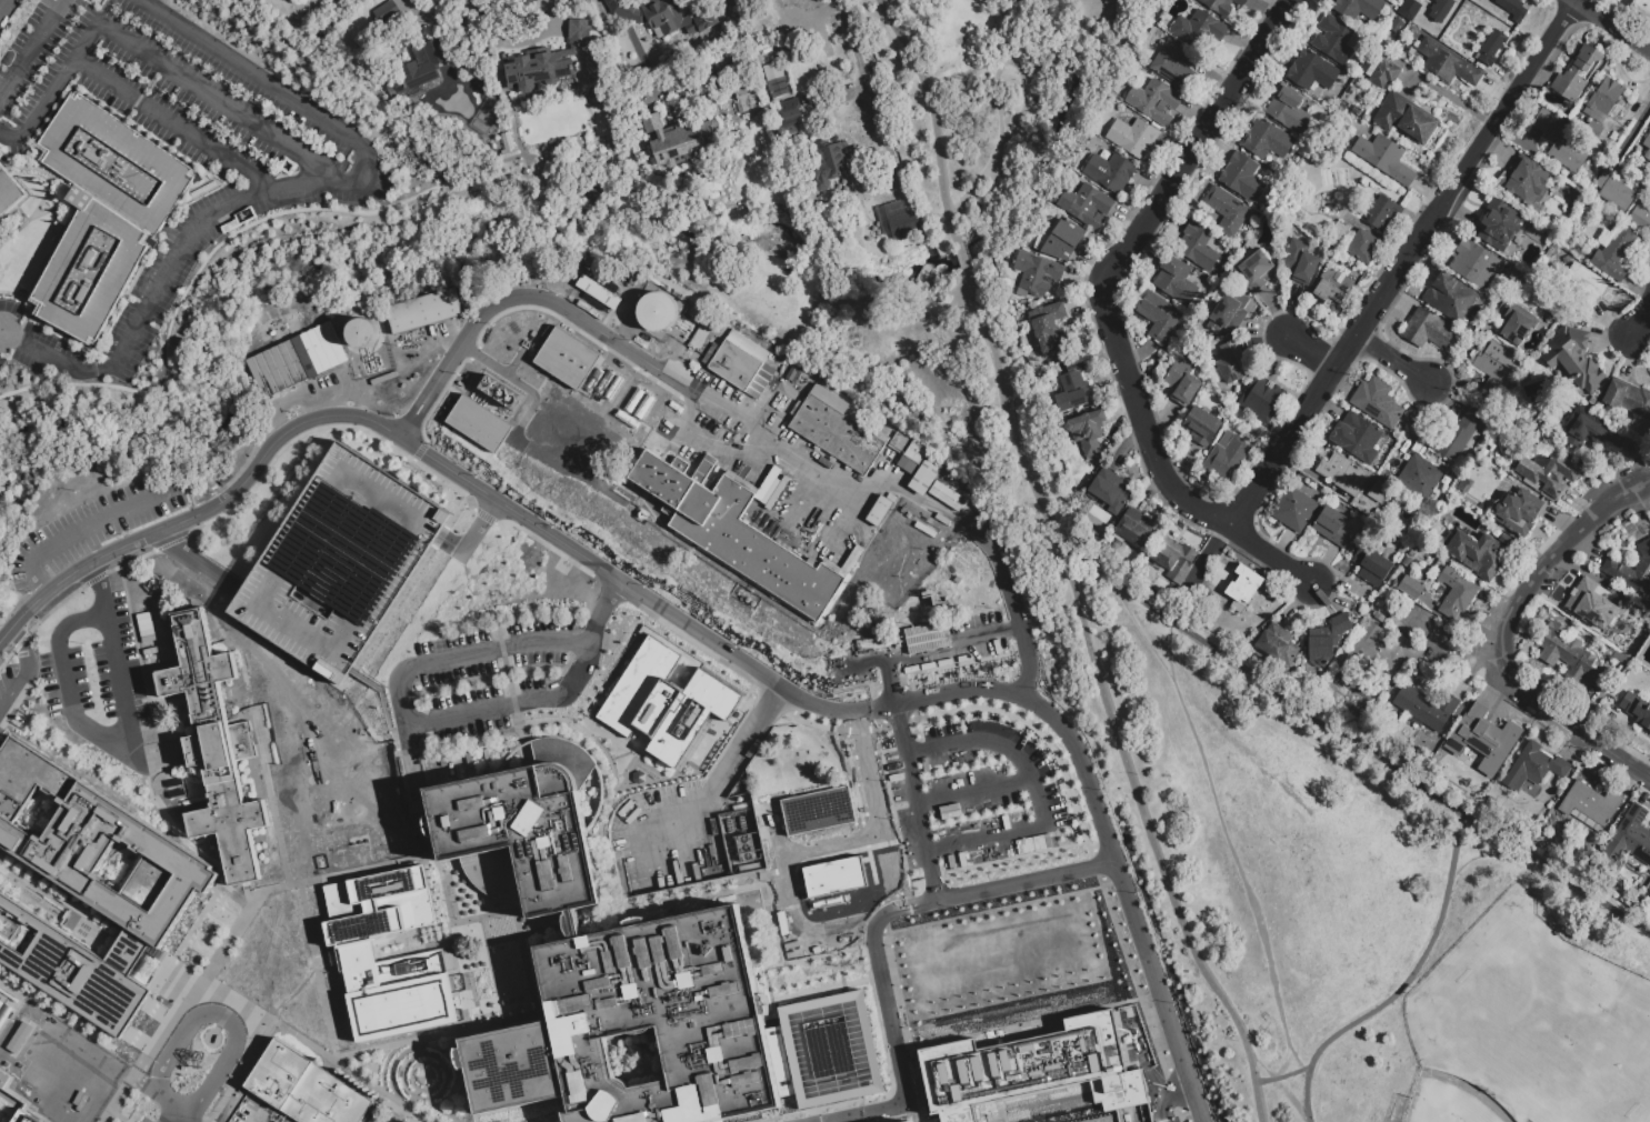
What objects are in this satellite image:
building: (1222, 7)
road: (729, 9)
building: (1409, 9)
building: (1512, 9)
building: (1642, 9)
building: (1359, 10)
road: (9, 12)
building: (1438, 14)
road: (441, 16)
building: (388, 17)
building: (661, 17)
road: (996, 24)
road: (1612, 24)
building: (1396, 26)
building: (1200, 32)
building: (1336, 42)
road: (32, 47)
building: (1492, 50)
building: (767, 51)
road: (153, 59)
building: (547, 62)
building: (1447, 67)
building: (422, 68)
building: (1174, 69)
building: (770, 71)
road: (860, 71)
road: (966, 72)
road: (247, 73)
road: (1017, 74)
building: (1313, 74)
building: (1384, 77)
building: (1579, 77)
building: (778, 87)
park: (981, 90)
building: (747, 101)
road: (996, 102)
building: (1154, 102)
building: (1604, 102)
building: (1289, 111)
road: (932, 117)
building: (1407, 121)
building: (790, 122)
road: (180, 126)
building: (1596, 132)
building: (1134, 139)
building: (681, 142)
building: (1268, 143)
road: (1199, 144)
building: (1560, 144)
building: (1647, 144)
building: (1648, 159)
road: (991, 161)
building: (1386, 161)
building: (833, 163)
building: (456, 168)
building: (1113, 176)
building: (1243, 181)
building: (1534, 182)
building: (11, 192)
building: (1616, 194)
building: (1088, 208)
building: (104, 212)
building: (1228, 212)
building: (244, 217)
building: (1384, 217)
building: (897, 221)
building: (1641, 221)
building: (229, 227)
building: (1499, 228)
building: (1339, 237)
building: (0, 240)
building: (1061, 242)
building: (1201, 249)
building: (1363, 250)
road: (961, 256)
building: (1614, 257)
road: (173, 260)
road: (1402, 263)
building: (1301, 264)
building: (1476, 266)
building: (1256, 273)
building: (1037, 276)
building: (1177, 283)
building: (598, 292)
building: (1584, 292)
building: (1334, 293)
building: (1450, 300)
building: (657, 311)
building: (426, 314)
building: (1230, 314)
building: (1159, 318)
road: (1641, 320)
building: (1047, 325)
building: (1518, 327)
building: (361, 332)
building: (1428, 332)
road: (2, 335)
building: (708, 337)
road: (1313, 354)
building: (1574, 358)
road: (1397, 360)
building: (740, 363)
building: (1233, 365)
building: (278, 369)
building: (1494, 369)
building: (792, 375)
building: (1183, 385)
building: (1074, 389)
building: (497, 393)
building: (1628, 400)
building: (1263, 402)
building: (1380, 407)
road: (741, 417)
building: (478, 423)
building: (1203, 429)
building: (1583, 429)
building: (839, 432)
building: (1088, 435)
building: (1458, 439)
building: (1616, 440)
building: (1361, 441)
building: (899, 445)
road: (421, 451)
building: (913, 460)
building: (1228, 460)
road: (1160, 473)
building: (1490, 474)
building: (1549, 474)
building: (1343, 477)
building: (927, 480)
building: (1420, 480)
building: (661, 481)
building: (768, 485)
building: (1379, 491)
building: (1111, 493)
building: (776, 494)
road: (202, 495)
building: (949, 499)
road: (138, 507)
building: (881, 512)
building: (1296, 512)
building: (1516, 514)
parking lot: (101, 528)
building: (1333, 530)
building: (1138, 532)
building: (523, 533)
road: (471, 538)
road: (59, 543)
building: (751, 545)
building: (1402, 549)
building: (1412, 553)
building: (1480, 555)
building: (1176, 561)
building: (1406, 561)
road: (197, 562)
building: (339, 562)
building: (1372, 569)
building: (1631, 570)
road: (1203, 571)
road: (34, 577)
road: (97, 580)
building: (1244, 591)
building: (1411, 591)
building: (1457, 595)
building: (1646, 597)
road: (102, 605)
building: (1599, 612)
building: (1378, 617)
building: (926, 638)
road: (1506, 638)
building: (1328, 642)
road: (1173, 643)
road: (1453, 644)
building: (1278, 648)
building: (1568, 654)
building: (1381, 655)
building: (1620, 657)
road: (26, 671)
parking lot: (96, 671)
parking lot: (489, 675)
road: (1107, 698)
building: (666, 702)
building: (1429, 710)
road: (896, 712)
building: (1634, 713)
road: (428, 723)
road: (96, 732)
road: (1352, 734)
building: (1484, 741)
road: (744, 745)
road: (1000, 747)
building: (217, 750)
building: (693, 765)
building: (1534, 770)
building: (177, 790)
road: (973, 791)
parking lot: (974, 798)
road: (1216, 807)
building: (823, 808)
building: (1590, 809)
road: (1094, 822)
building: (521, 831)
road: (984, 839)
building: (1629, 842)
parking lot: (666, 843)
road: (1479, 854)
building: (833, 876)
building: (89, 888)
road: (851, 920)
building: (571, 924)
building: (921, 929)
road: (874, 931)
building: (357, 955)
road: (1406, 982)
building: (3, 1012)
road: (217, 1013)
park: (1548, 1020)
building: (672, 1031)
road: (1294, 1062)
building: (1030, 1070)
road: (1282, 1076)
road: (1280, 1088)
building: (304, 1089)
park: (1449, 1101)
building: (14, 1103)
road: (172, 1113)
building: (768, 1113)
parking lot: (146, 1116)
road: (166, 1121)
road: (167, 1121)
building: (720, 1121)
building: (908, 1121)

